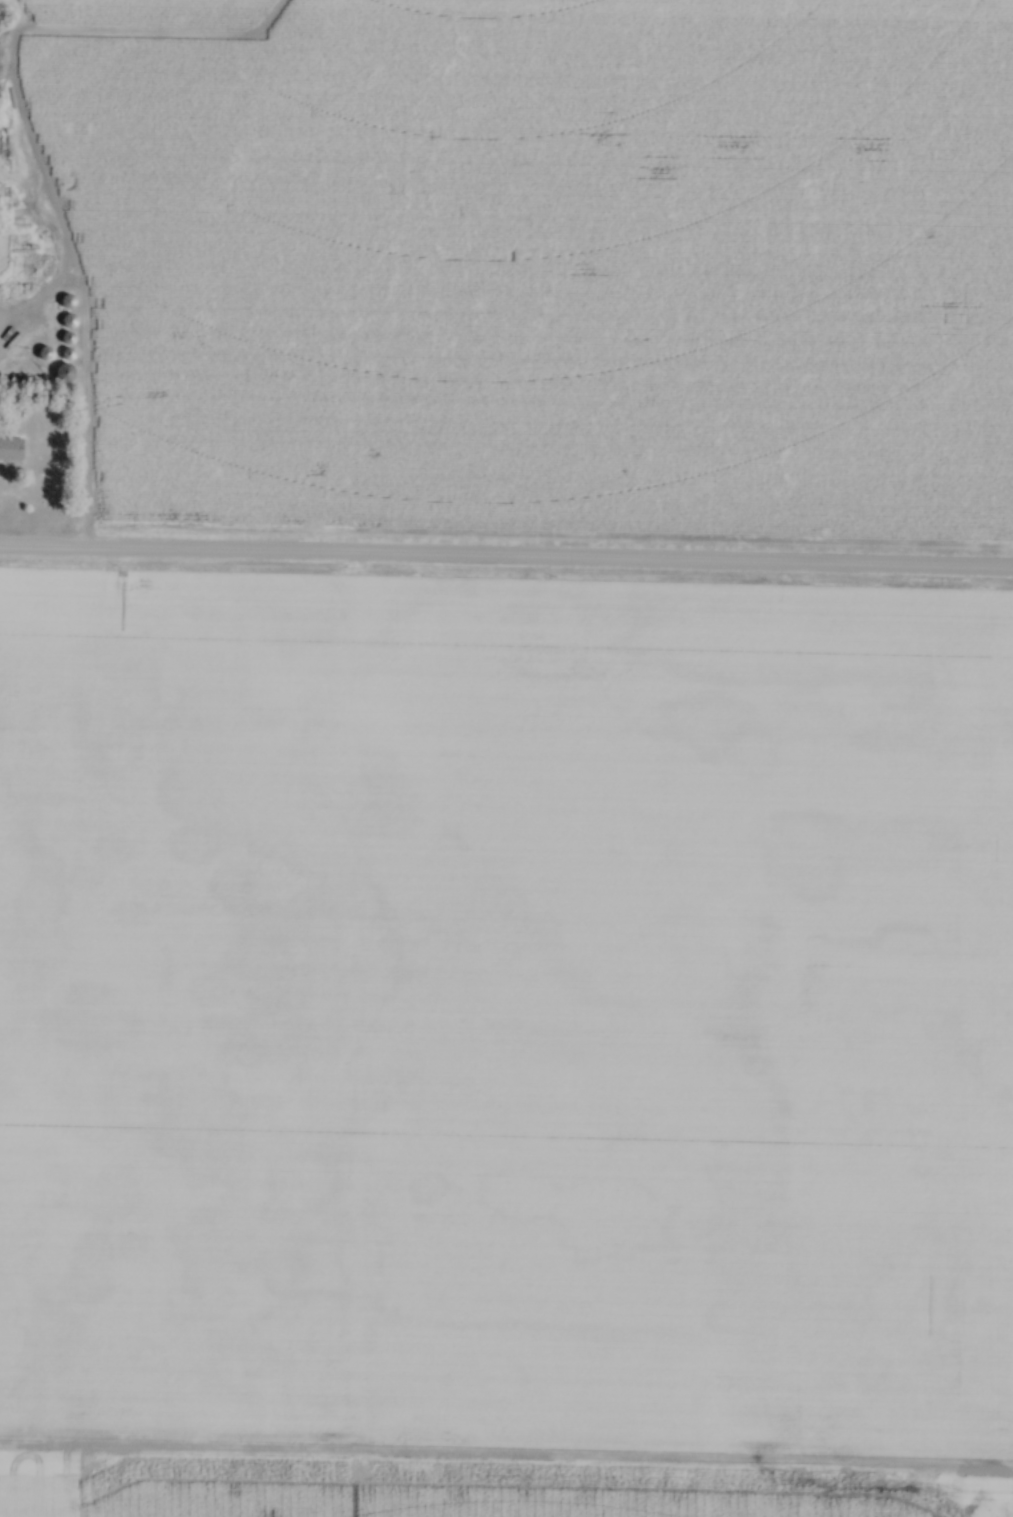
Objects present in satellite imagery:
building: (44, 266)
building: (66, 302)
building: (66, 321)
building: (61, 372)
building: (10, 450)
road: (506, 562)

